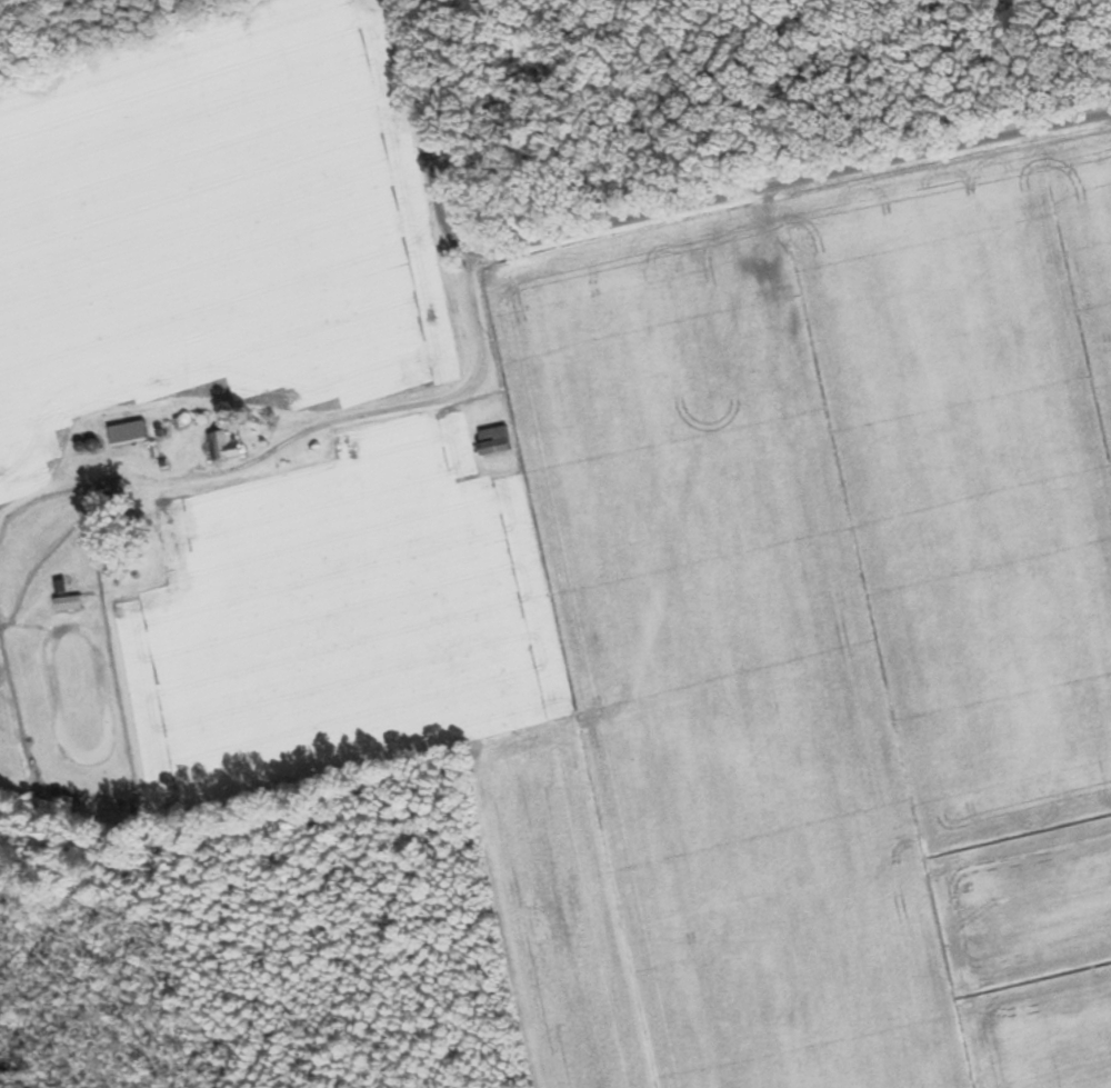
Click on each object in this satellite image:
road: (416, 136)
road: (788, 186)
road: (330, 421)
building: (122, 431)
building: (227, 445)
building: (502, 446)
road: (308, 465)
building: (118, 489)
building: (71, 602)

